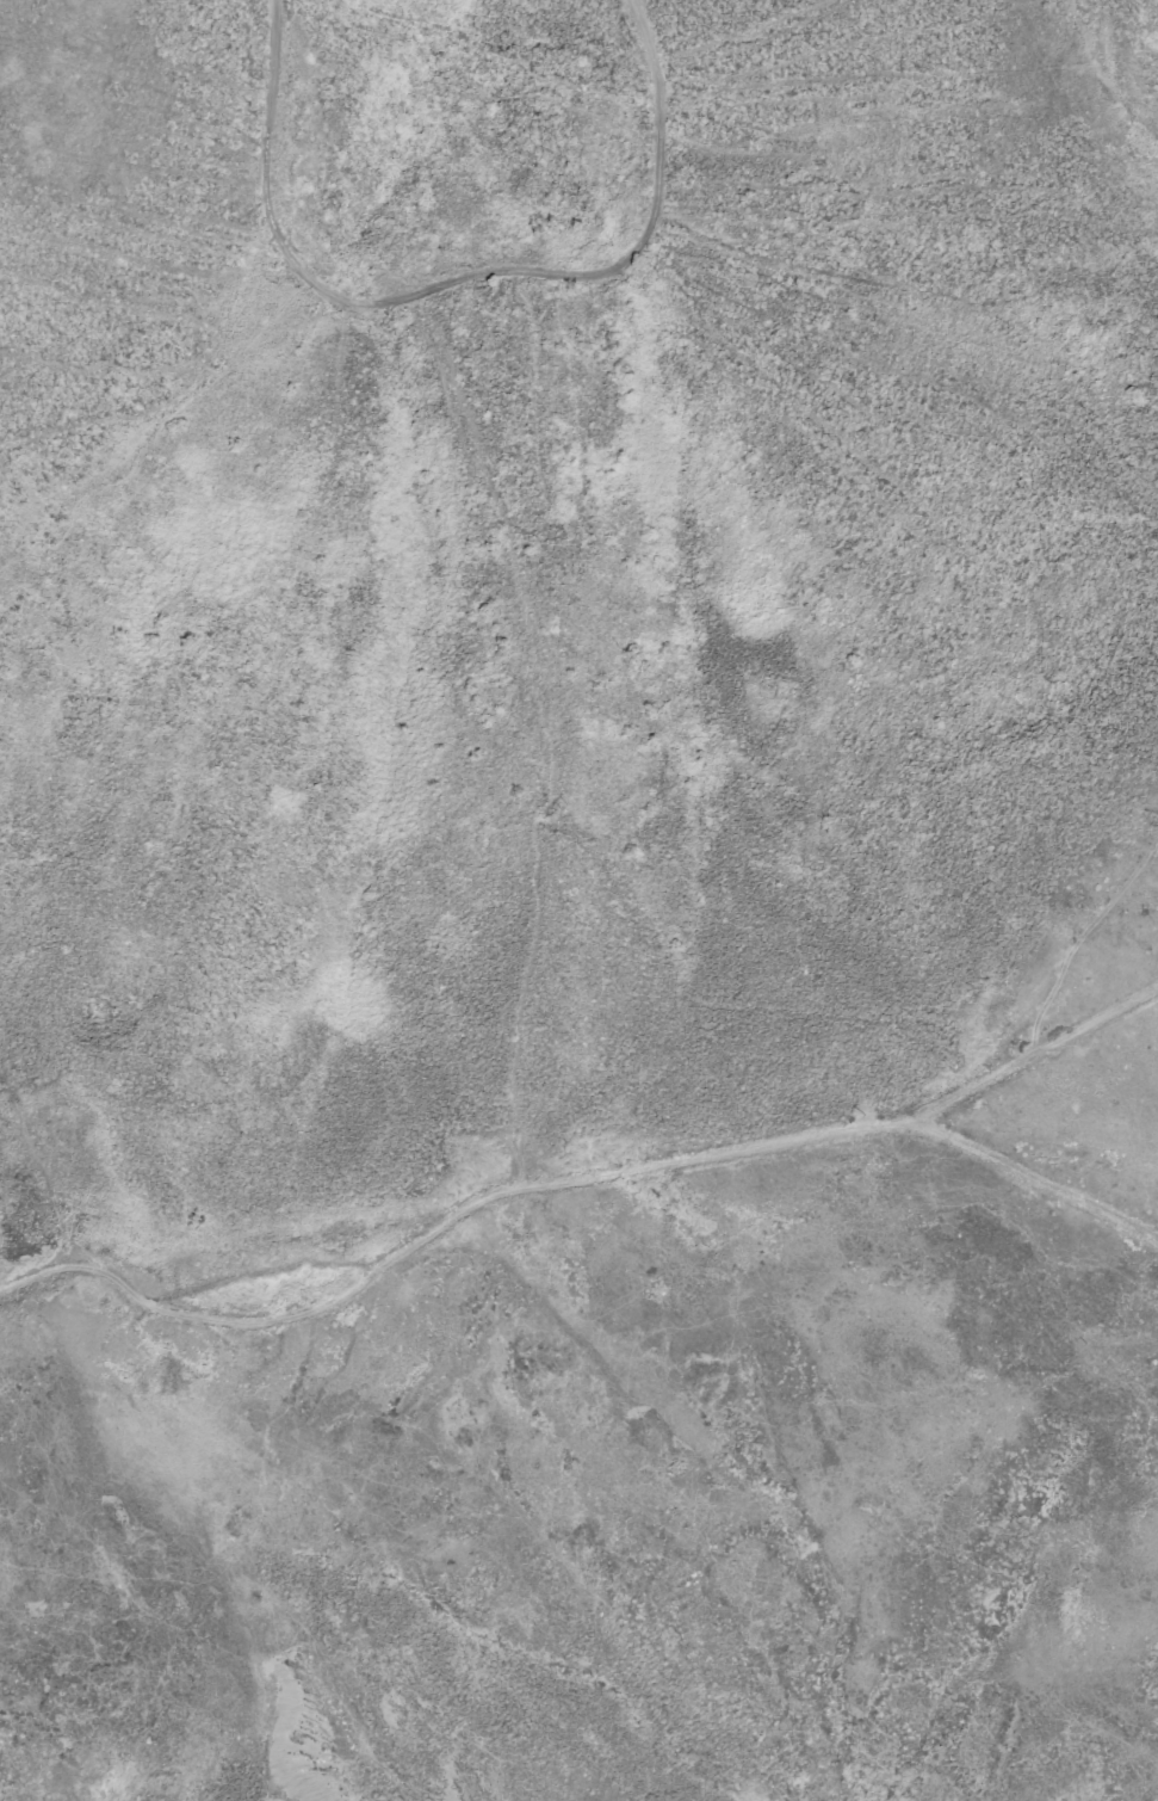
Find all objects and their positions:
road: (571, 1194)

